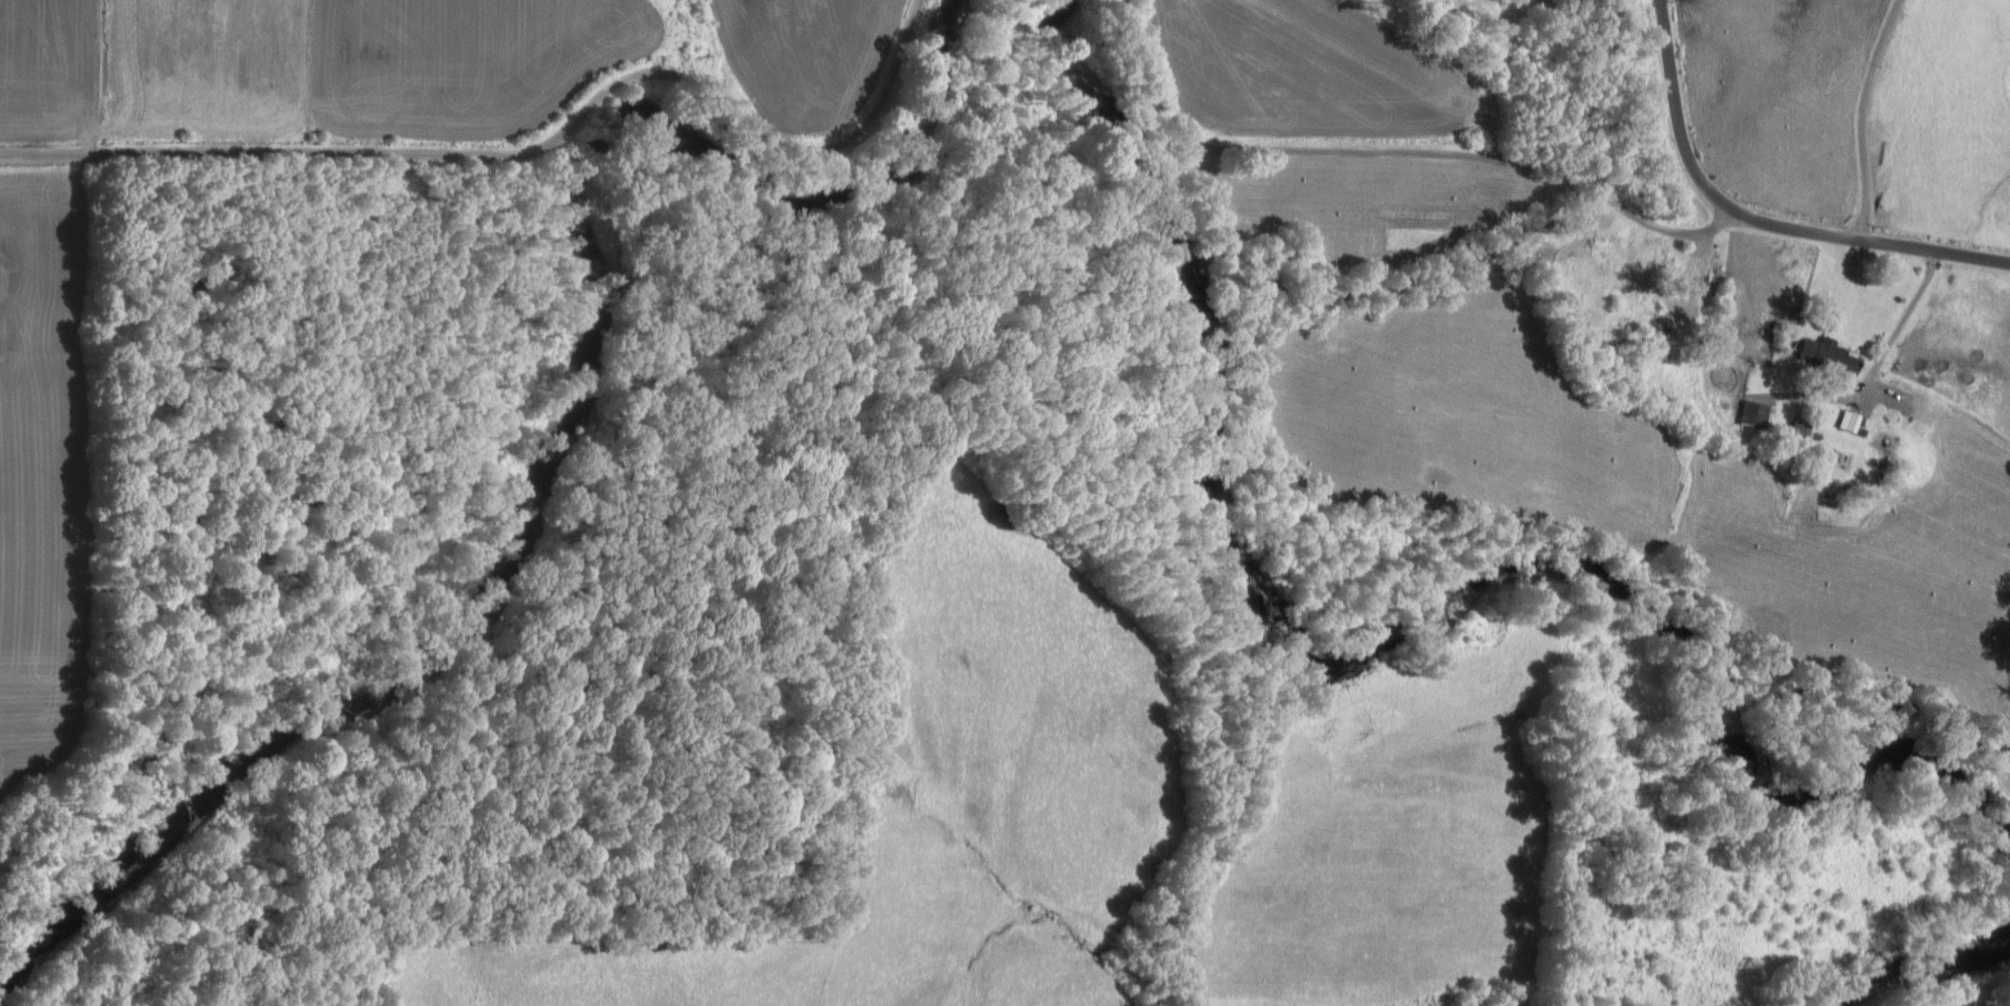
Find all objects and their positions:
road: (529, 153)
road: (1392, 154)
road: (1756, 219)
road: (1907, 310)
building: (1828, 353)
building: (1753, 413)
building: (1848, 420)
building: (1797, 427)
river: (550, 440)
river: (1380, 630)
river: (1927, 967)

